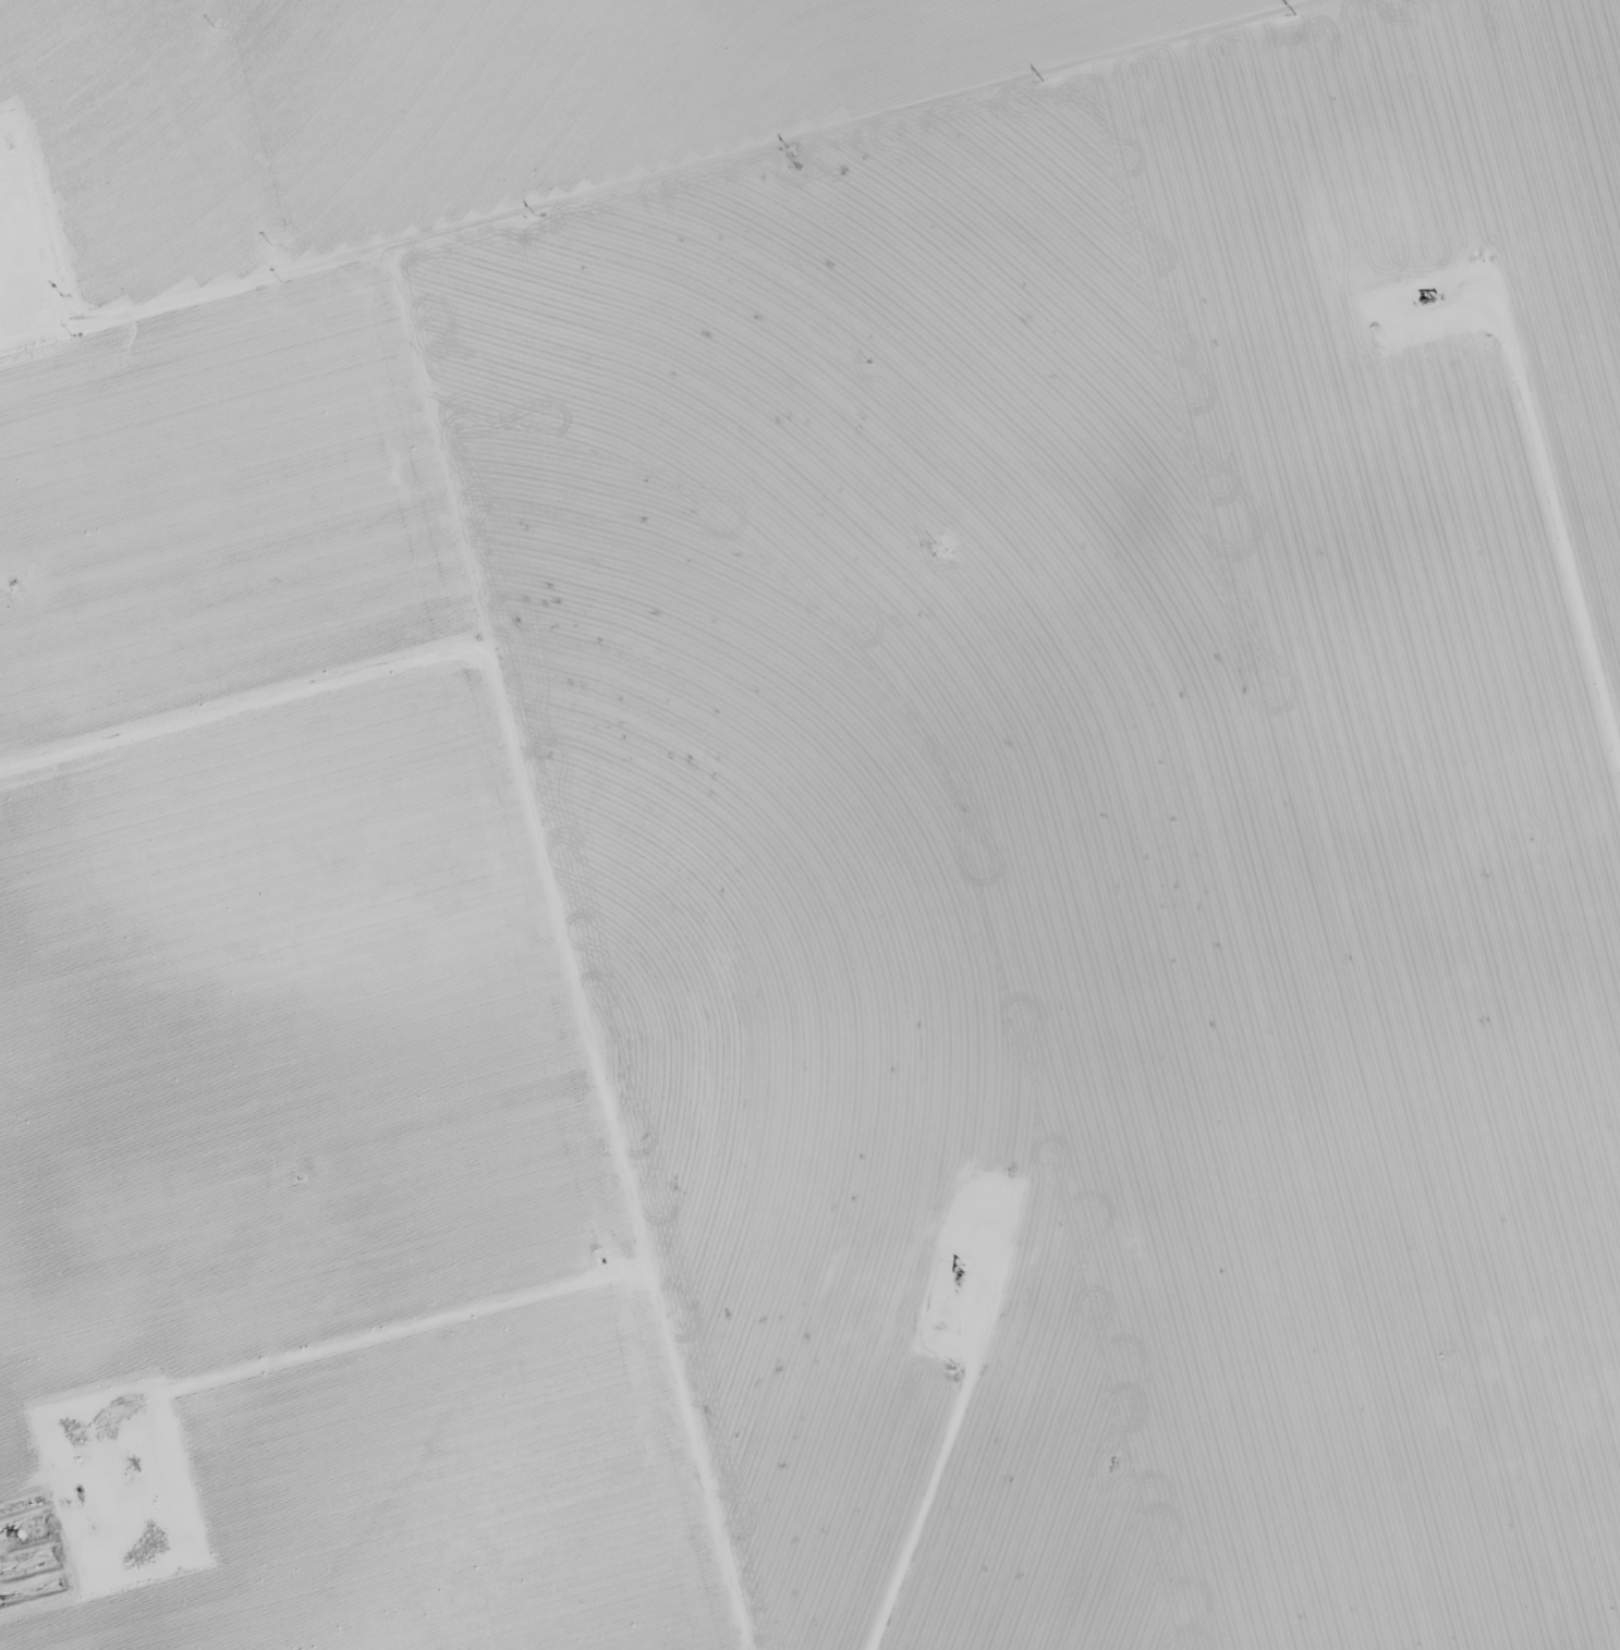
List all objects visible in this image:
road: (684, 185)

